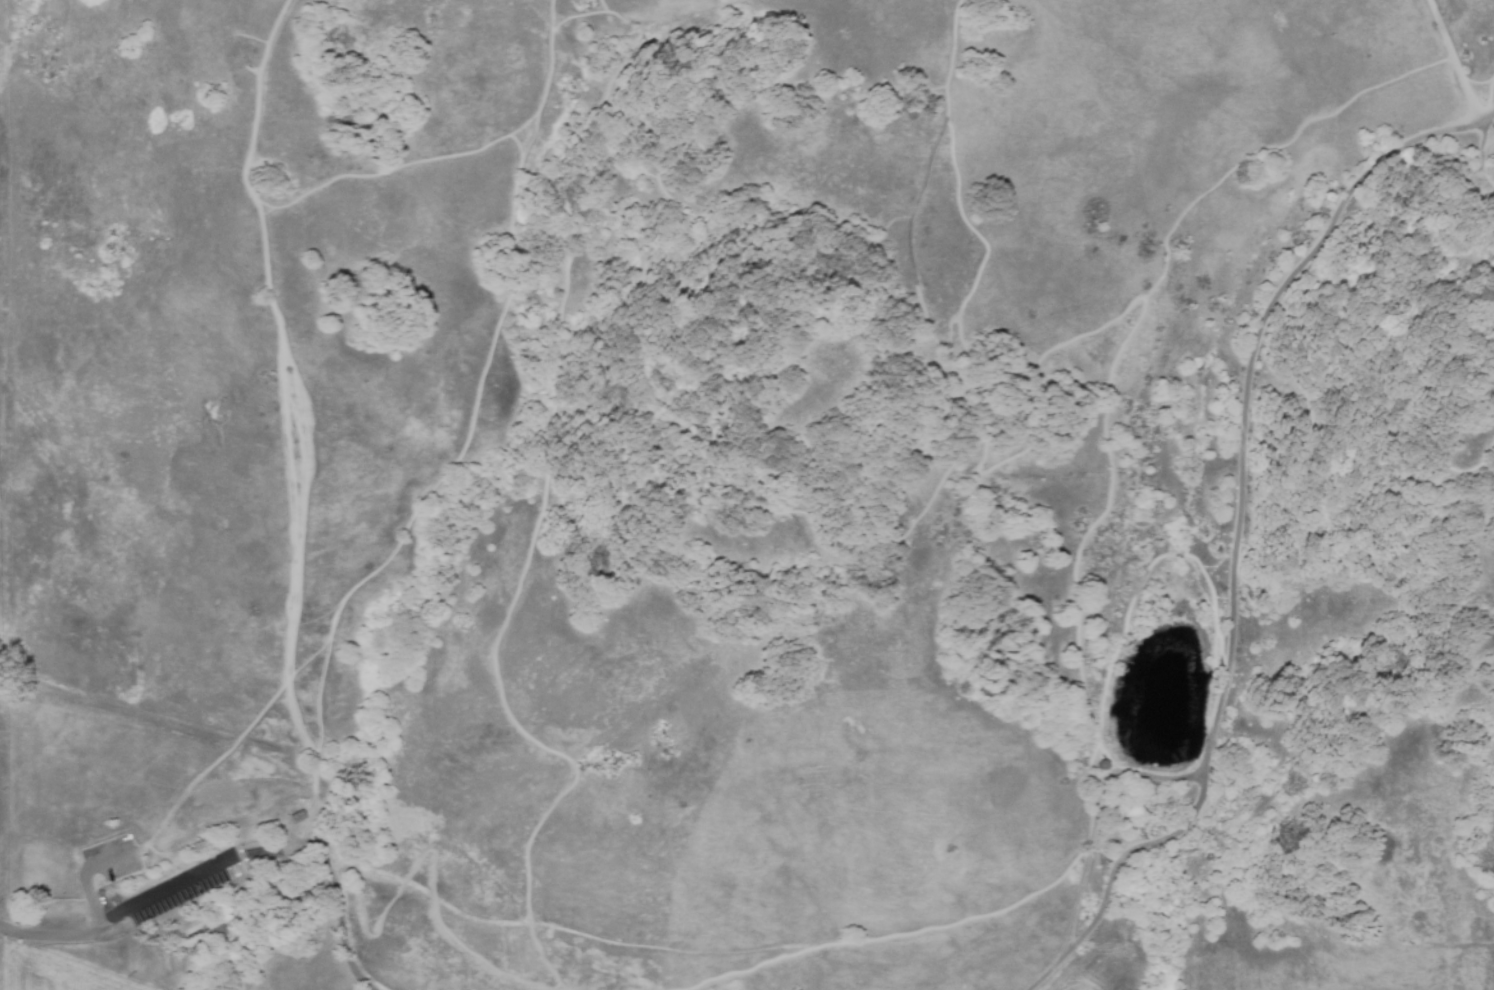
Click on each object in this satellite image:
road: (595, 8)
road: (586, 18)
road: (626, 20)
road: (565, 25)
road: (490, 58)
road: (1459, 61)
road: (659, 79)
road: (1483, 86)
road: (1489, 116)
road: (1483, 143)
road: (393, 157)
road: (1488, 173)
road: (955, 183)
road: (1476, 223)
road: (810, 247)
road: (281, 301)
road: (1129, 335)
road: (1246, 390)
road: (464, 445)
road: (1025, 450)
road: (1484, 479)
park: (743, 487)
road: (1131, 598)
building: (1104, 766)
road: (200, 773)
building: (297, 816)
road: (1147, 845)
road: (419, 861)
road: (90, 871)
parking lot: (116, 881)
road: (1077, 898)
road: (159, 908)
road: (985, 918)
road: (342, 922)
building: (215, 933)
road: (1059, 958)

